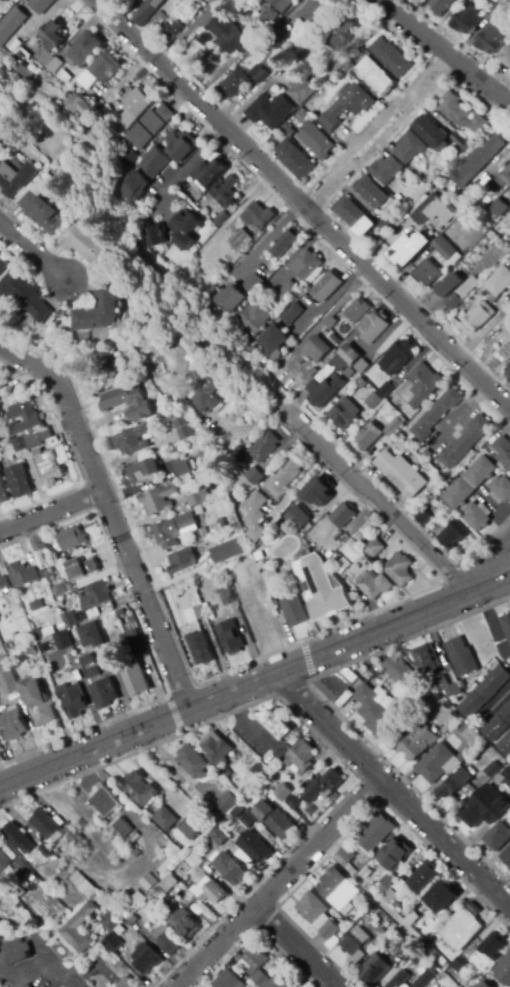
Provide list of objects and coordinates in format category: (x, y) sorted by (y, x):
building: (130, 0)
building: (4, 1)
building: (41, 5)
building: (441, 6)
building: (146, 11)
building: (274, 11)
building: (314, 12)
building: (495, 12)
building: (158, 19)
building: (466, 19)
building: (11, 24)
building: (169, 31)
building: (342, 32)
building: (233, 33)
building: (52, 35)
building: (277, 38)
building: (492, 39)
building: (83, 50)
road: (445, 52)
building: (391, 57)
building: (506, 57)
building: (46, 61)
building: (104, 67)
building: (348, 67)
building: (23, 72)
building: (258, 74)
building: (62, 76)
building: (374, 76)
building: (87, 80)
building: (233, 84)
building: (300, 89)
building: (50, 92)
building: (77, 105)
building: (347, 106)
building: (132, 109)
building: (271, 111)
building: (461, 114)
building: (302, 115)
building: (147, 127)
road: (377, 130)
building: (287, 131)
building: (433, 134)
building: (316, 141)
building: (461, 141)
building: (181, 145)
building: (409, 147)
building: (127, 156)
building: (294, 160)
building: (477, 160)
building: (153, 162)
road: (185, 168)
building: (387, 169)
building: (208, 174)
building: (15, 178)
building: (505, 178)
building: (131, 187)
building: (225, 192)
building: (370, 192)
road: (303, 203)
building: (498, 207)
building: (41, 209)
building: (433, 210)
road: (239, 211)
building: (258, 216)
building: (354, 216)
building: (220, 217)
building: (386, 224)
building: (183, 229)
building: (151, 237)
road: (271, 237)
building: (241, 241)
building: (286, 243)
building: (81, 245)
building: (408, 250)
building: (446, 251)
road: (33, 252)
building: (3, 263)
building: (306, 265)
building: (427, 273)
building: (498, 283)
building: (327, 287)
building: (442, 291)
building: (286, 292)
building: (237, 294)
building: (461, 294)
building: (24, 295)
building: (99, 309)
building: (357, 311)
building: (290, 314)
building: (479, 317)
building: (252, 319)
building: (328, 325)
building: (372, 327)
building: (506, 327)
building: (271, 340)
building: (193, 348)
building: (315, 349)
building: (347, 352)
building: (399, 356)
building: (361, 366)
building: (348, 373)
building: (508, 375)
building: (325, 384)
building: (423, 384)
building: (385, 389)
building: (207, 395)
building: (391, 399)
building: (373, 401)
building: (127, 402)
building: (163, 409)
building: (344, 414)
building: (436, 414)
building: (0, 416)
building: (23, 417)
building: (393, 426)
building: (183, 429)
building: (368, 436)
building: (36, 438)
building: (132, 441)
building: (465, 442)
building: (18, 445)
building: (260, 448)
building: (499, 449)
building: (52, 465)
building: (183, 468)
building: (143, 472)
building: (401, 472)
building: (253, 477)
building: (285, 477)
building: (18, 481)
building: (470, 482)
building: (500, 489)
building: (318, 490)
building: (3, 494)
building: (328, 497)
building: (197, 498)
building: (156, 500)
road: (378, 501)
road: (51, 510)
road: (111, 512)
building: (425, 513)
building: (256, 515)
building: (343, 515)
building: (477, 517)
building: (297, 518)
building: (173, 530)
building: (200, 534)
building: (453, 535)
building: (71, 538)
building: (340, 538)
building: (352, 546)
building: (39, 548)
building: (374, 548)
building: (227, 551)
building: (364, 560)
building: (181, 561)
building: (343, 564)
road: (489, 565)
building: (399, 569)
building: (22, 574)
building: (41, 574)
building: (267, 579)
building: (50, 580)
building: (3, 585)
building: (373, 585)
building: (321, 588)
building: (96, 595)
building: (226, 596)
building: (27, 607)
building: (294, 610)
building: (199, 612)
building: (92, 614)
building: (69, 619)
building: (0, 620)
road: (492, 622)
building: (506, 624)
building: (48, 632)
building: (90, 636)
building: (230, 637)
road: (143, 640)
building: (54, 643)
building: (199, 647)
building: (138, 648)
building: (31, 651)
road: (273, 652)
building: (461, 657)
building: (3, 658)
building: (425, 659)
road: (306, 660)
building: (87, 661)
building: (398, 670)
building: (92, 673)
building: (350, 678)
building: (135, 679)
road: (254, 680)
building: (8, 683)
building: (438, 684)
building: (333, 686)
building: (456, 689)
building: (484, 691)
building: (425, 693)
building: (104, 694)
building: (73, 698)
building: (436, 701)
building: (37, 702)
road: (332, 706)
building: (376, 709)
road: (173, 714)
building: (13, 723)
building: (276, 724)
building: (498, 724)
road: (314, 735)
building: (417, 741)
building: (505, 744)
building: (216, 748)
building: (0, 749)
building: (249, 754)
building: (301, 757)
building: (271, 760)
building: (192, 762)
building: (438, 764)
building: (492, 769)
building: (259, 772)
building: (507, 776)
building: (499, 779)
building: (253, 784)
building: (456, 784)
building: (323, 787)
building: (139, 789)
road: (392, 790)
building: (235, 792)
building: (284, 792)
building: (104, 801)
building: (294, 802)
building: (226, 803)
building: (478, 809)
building: (237, 812)
building: (164, 818)
building: (274, 819)
building: (247, 820)
building: (45, 824)
building: (123, 827)
building: (192, 827)
road: (351, 830)
building: (374, 832)
building: (497, 836)
building: (133, 837)
building: (218, 837)
building: (18, 838)
building: (75, 838)
building: (229, 843)
building: (254, 847)
building: (46, 851)
building: (395, 852)
building: (136, 854)
building: (349, 857)
building: (506, 857)
building: (3, 858)
building: (194, 860)
building: (166, 864)
building: (20, 865)
building: (230, 868)
building: (12, 872)
building: (424, 878)
building: (149, 882)
building: (169, 883)
road: (280, 883)
building: (384, 884)
building: (84, 885)
building: (338, 890)
building: (210, 891)
building: (34, 894)
building: (389, 896)
building: (441, 897)
building: (135, 902)
building: (153, 902)
building: (104, 903)
building: (370, 903)
building: (312, 908)
building: (122, 913)
building: (80, 919)
building: (134, 920)
building: (112, 922)
building: (185, 924)
building: (345, 927)
building: (461, 929)
building: (330, 930)
road: (254, 931)
building: (382, 931)
building: (425, 934)
building: (166, 937)
building: (113, 943)
building: (355, 945)
road: (296, 946)
building: (493, 946)
building: (25, 947)
building: (405, 950)
building: (419, 958)
building: (147, 959)
building: (255, 959)
building: (459, 965)
building: (374, 969)
building: (503, 972)
building: (259, 978)
building: (281, 978)
building: (425, 979)
road: (199, 980)
building: (228, 980)
building: (400, 980)
building: (473, 981)
road: (74, 983)
building: (126, 983)
building: (27, 985)
building: (478, 986)

